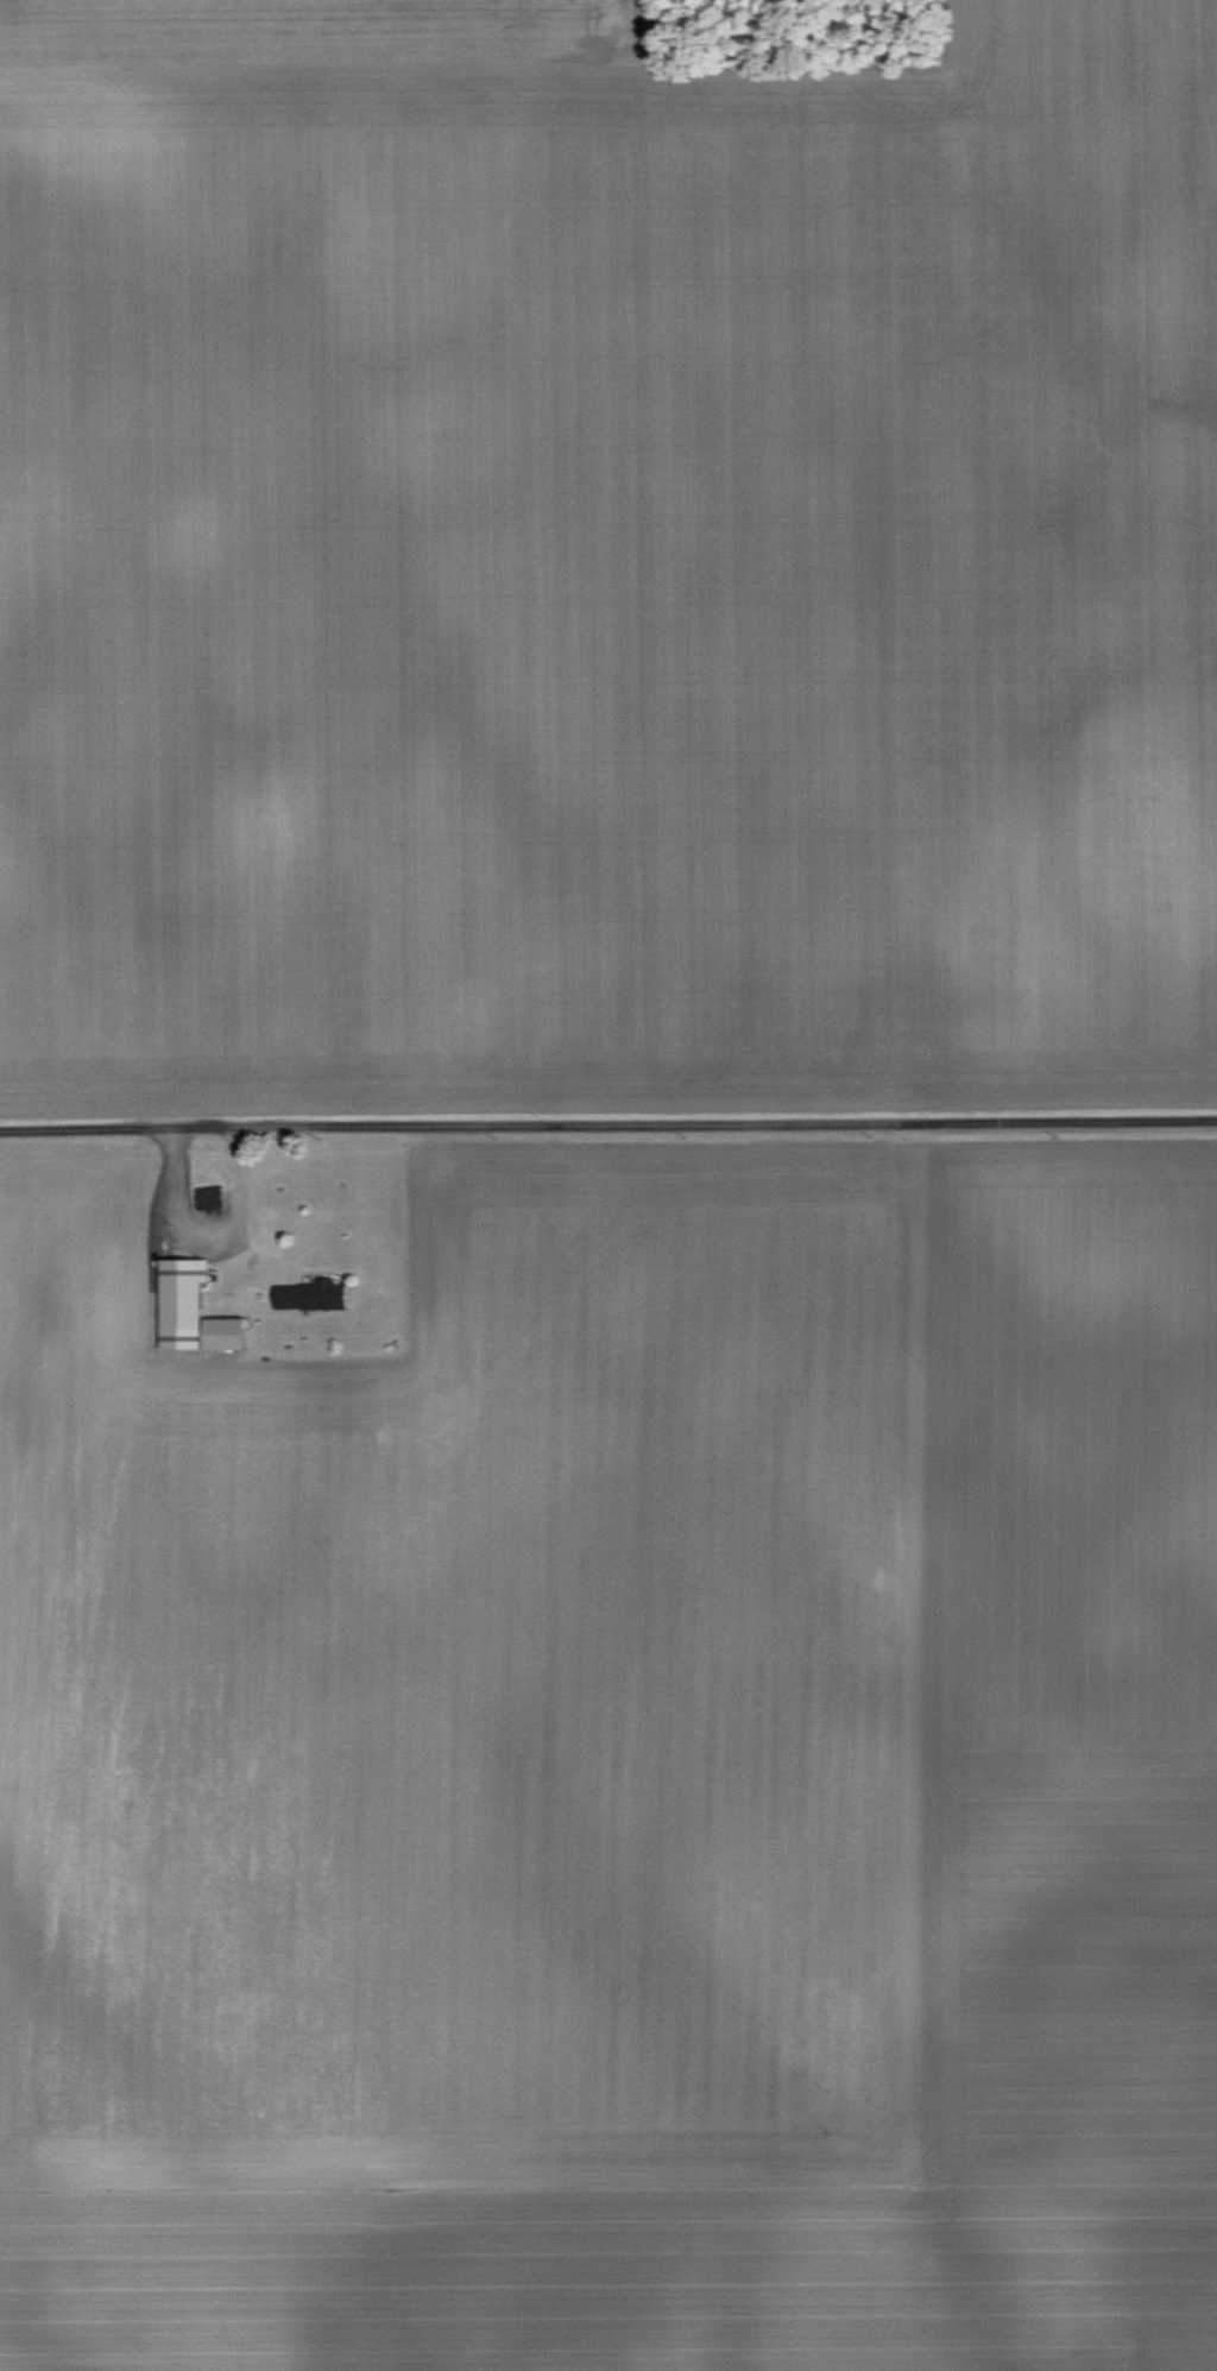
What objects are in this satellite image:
road: (608, 1123)
road: (203, 1248)

